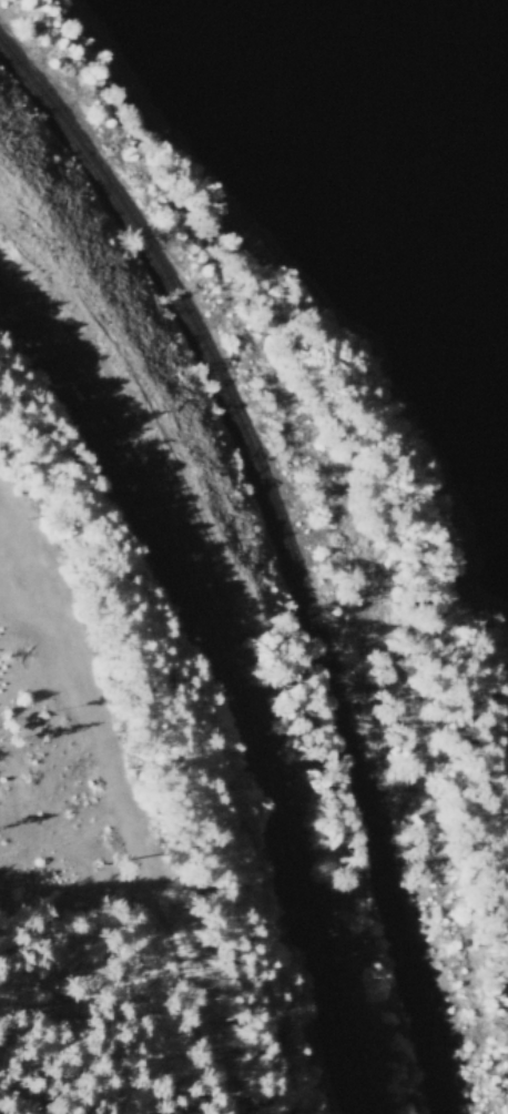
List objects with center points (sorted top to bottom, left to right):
railway: (292, 550)
road: (223, 687)

